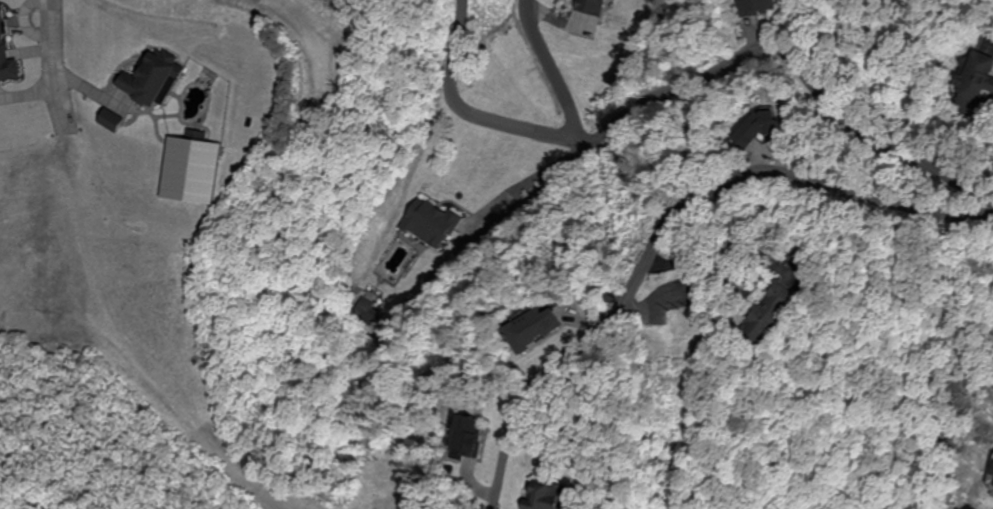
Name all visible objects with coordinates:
building: (594, 7)
building: (762, 8)
building: (6, 54)
road: (552, 68)
building: (153, 80)
building: (975, 82)
building: (761, 129)
building: (193, 172)
road: (668, 172)
building: (431, 224)
road: (614, 310)
building: (782, 312)
power tower: (696, 320)
building: (548, 328)
building: (474, 436)
building: (552, 495)

